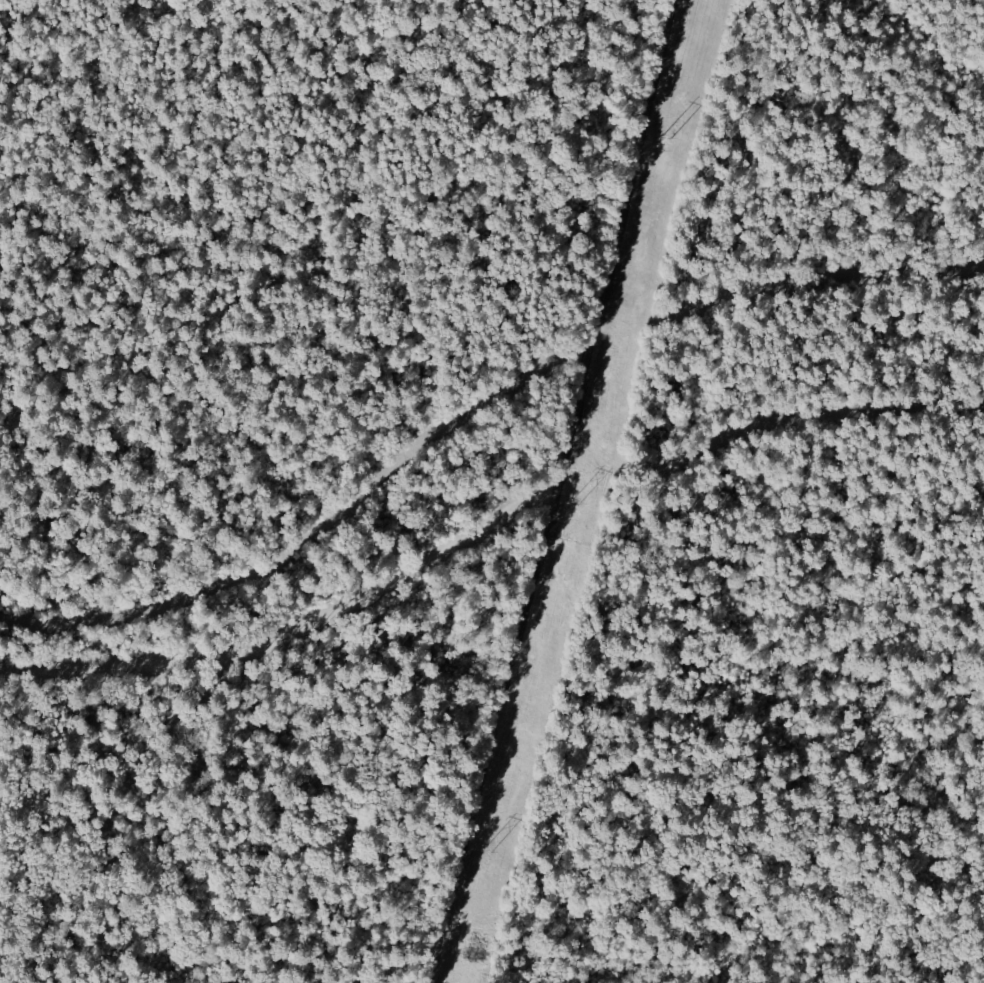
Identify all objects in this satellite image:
power tower: (665, 137)
road: (619, 244)
power tower: (575, 504)
road: (296, 636)
road: (498, 735)
power tower: (488, 853)

